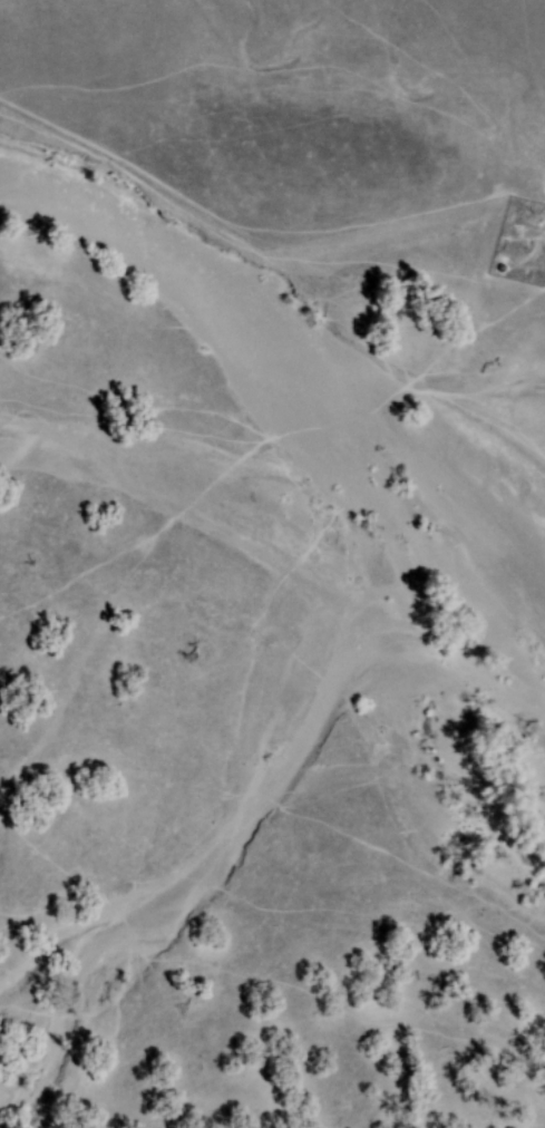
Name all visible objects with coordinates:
road: (535, 234)
river: (290, 360)

